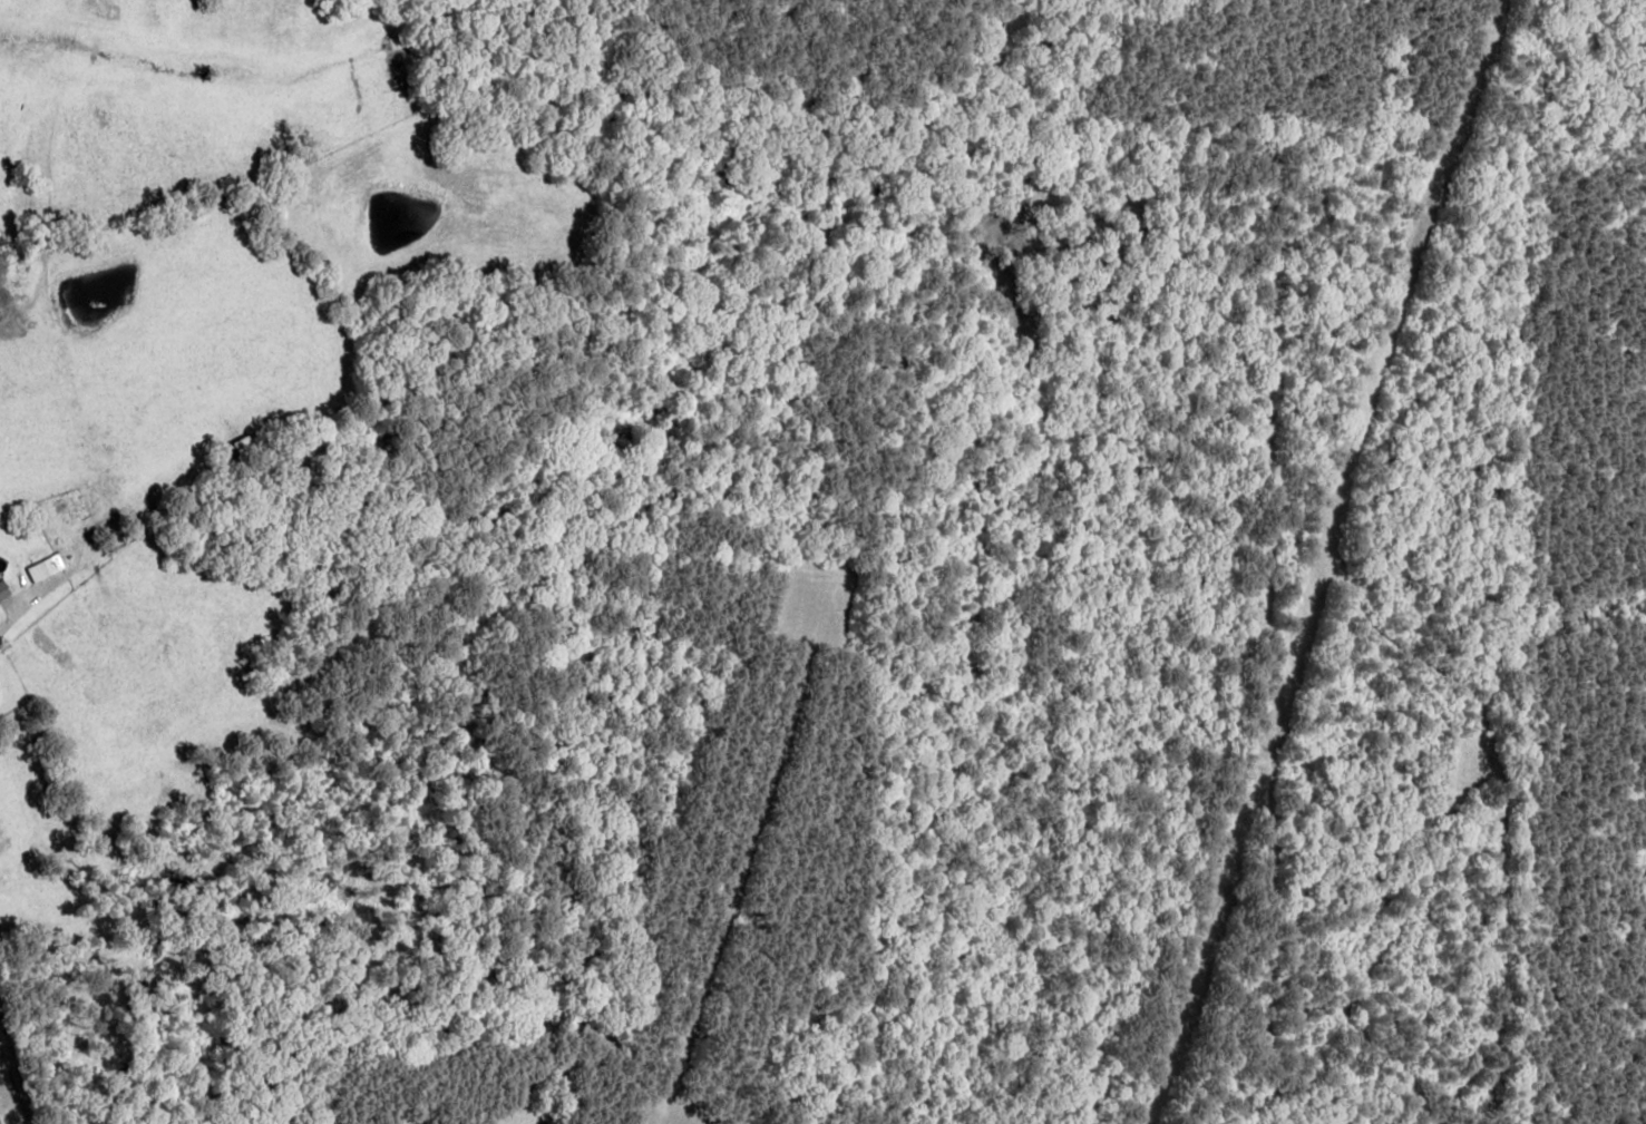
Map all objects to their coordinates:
building: (47, 567)
building: (4, 590)

